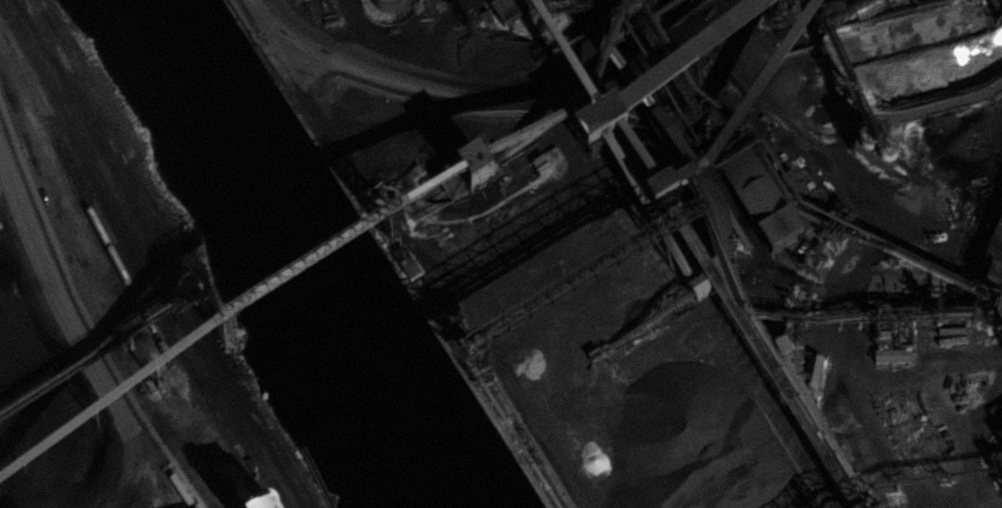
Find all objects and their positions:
landfill: (6, 483)

